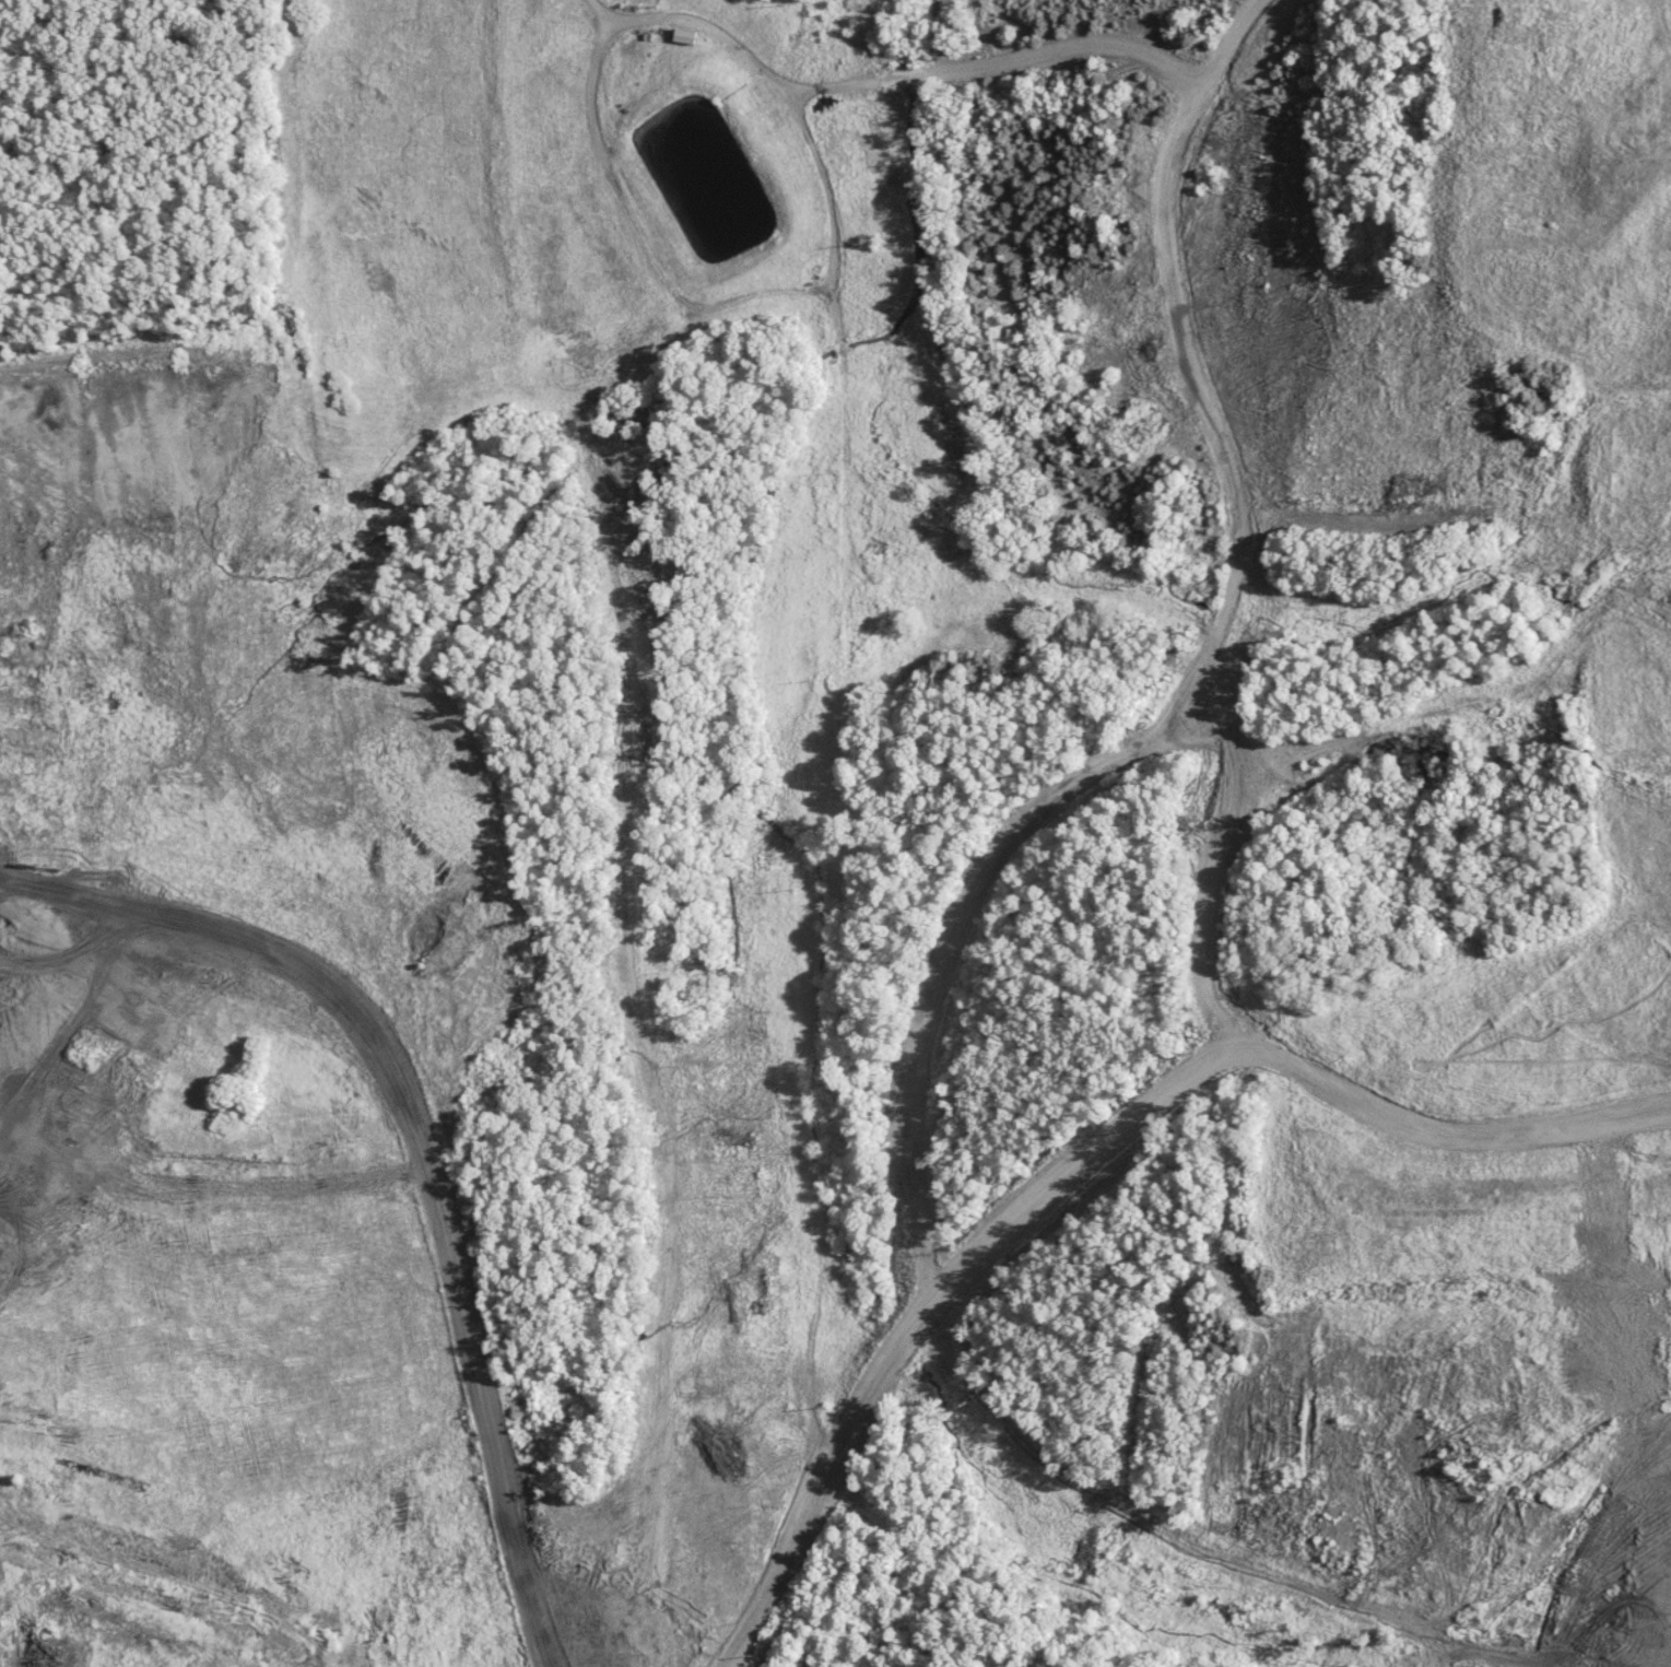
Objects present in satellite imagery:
road: (1473, 990)

